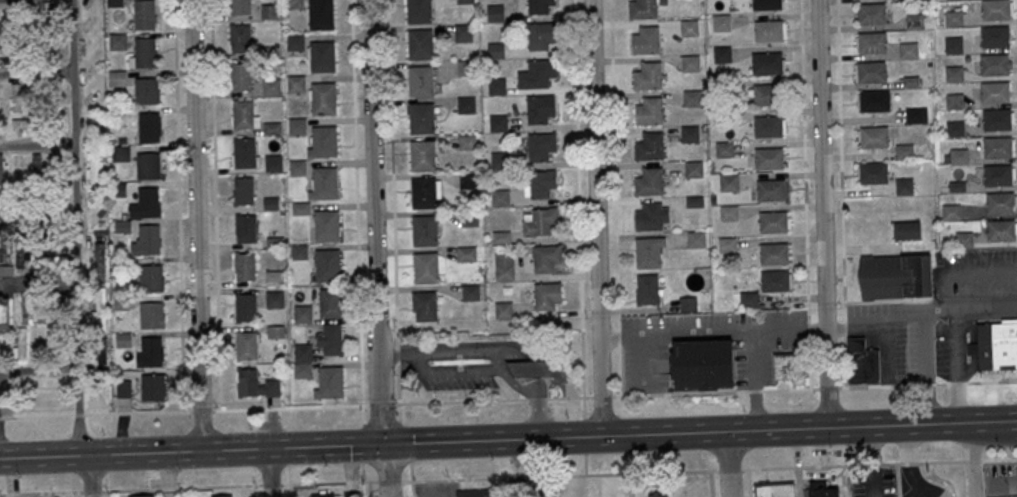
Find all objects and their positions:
building: (913, 0)
building: (464, 1)
building: (115, 3)
building: (294, 3)
building: (767, 4)
building: (539, 6)
building: (240, 7)
building: (642, 9)
building: (995, 9)
building: (269, 11)
building: (419, 11)
building: (495, 12)
building: (144, 13)
building: (321, 14)
building: (870, 14)
building: (954, 17)
building: (721, 22)
building: (914, 22)
building: (22, 23)
building: (689, 27)
building: (768, 30)
building: (463, 31)
building: (542, 35)
building: (995, 36)
building: (240, 38)
building: (647, 40)
building: (118, 41)
building: (61, 42)
building: (295, 42)
building: (870, 43)
building: (420, 45)
building: (953, 45)
building: (92, 47)
building: (496, 50)
building: (145, 52)
building: (907, 52)
building: (722, 54)
building: (7, 55)
building: (322, 57)
building: (691, 63)
building: (767, 63)
building: (994, 64)
building: (466, 68)
road: (36, 72)
building: (870, 72)
building: (537, 74)
building: (954, 74)
building: (648, 75)
building: (241, 77)
building: (116, 78)
building: (421, 81)
building: (910, 82)
building: (296, 83)
building: (94, 84)
building: (272, 87)
building: (497, 87)
building: (60, 88)
building: (147, 91)
building: (995, 92)
building: (767, 94)
building: (15, 97)
building: (323, 98)
building: (692, 98)
building: (34, 99)
building: (954, 101)
building: (873, 102)
building: (466, 105)
building: (540, 108)
building: (57, 109)
building: (650, 110)
building: (243, 114)
building: (913, 116)
building: (421, 118)
building: (996, 119)
building: (22, 123)
building: (498, 123)
building: (93, 124)
building: (297, 126)
building: (768, 126)
building: (150, 127)
building: (955, 128)
building: (689, 134)
building: (874, 137)
building: (323, 142)
building: (467, 142)
building: (541, 145)
road: (37, 146)
building: (650, 146)
building: (998, 147)
building: (724, 149)
building: (905, 151)
building: (244, 152)
building: (422, 155)
building: (958, 156)
building: (768, 158)
building: (946, 158)
building: (500, 160)
building: (92, 161)
road: (804, 161)
road: (841, 161)
building: (273, 163)
road: (614, 163)
building: (148, 165)
building: (297, 167)
building: (2, 168)
building: (38, 169)
building: (693, 169)
building: (873, 173)
road: (392, 174)
building: (998, 175)
building: (468, 180)
building: (649, 182)
building: (729, 182)
building: (324, 183)
building: (542, 183)
building: (904, 186)
building: (957, 186)
building: (771, 189)
building: (943, 189)
building: (244, 190)
building: (424, 193)
building: (501, 197)
building: (148, 200)
building: (1000, 202)
road: (215, 205)
road: (178, 206)
road: (578, 209)
building: (94, 211)
road: (357, 212)
building: (951, 212)
building: (729, 213)
road: (822, 214)
road: (37, 216)
building: (649, 216)
building: (469, 218)
road: (598, 218)
building: (773, 221)
road: (376, 222)
building: (541, 222)
road: (196, 225)
building: (326, 225)
building: (122, 226)
road: (75, 228)
building: (246, 229)
building: (424, 230)
building: (906, 230)
building: (1001, 230)
building: (501, 237)
building: (149, 239)
building: (696, 239)
building: (964, 239)
building: (727, 244)
building: (300, 252)
building: (647, 252)
building: (20, 253)
building: (466, 254)
building: (774, 254)
building: (5, 256)
building: (547, 258)
building: (100, 261)
building: (45, 262)
building: (327, 265)
building: (504, 266)
building: (245, 267)
building: (426, 267)
building: (894, 275)
building: (151, 278)
building: (775, 281)
road: (37, 282)
building: (647, 289)
building: (471, 292)
building: (548, 296)
building: (275, 299)
building: (748, 299)
building: (332, 303)
building: (687, 304)
building: (424, 305)
building: (245, 307)
road: (971, 307)
building: (25, 308)
building: (503, 310)
building: (303, 313)
building: (5, 314)
building: (152, 315)
road: (885, 318)
building: (99, 322)
road: (808, 323)
parking lot: (729, 324)
road: (845, 324)
road: (816, 325)
road: (835, 326)
road: (808, 328)
road: (713, 329)
road: (618, 331)
road: (845, 331)
building: (276, 332)
road: (610, 335)
building: (56, 339)
building: (331, 340)
road: (619, 340)
building: (21, 343)
building: (246, 345)
building: (1003, 345)
parking lot: (945, 349)
building: (151, 351)
road: (886, 351)
parking lot: (896, 351)
road: (454, 352)
road: (396, 354)
road: (395, 355)
road: (753, 356)
road: (808, 359)
road: (845, 360)
building: (302, 361)
road: (497, 361)
road: (642, 361)
building: (702, 362)
building: (862, 362)
road: (415, 363)
road: (656, 364)
road: (956, 365)
road: (928, 366)
parking lot: (753, 368)
parking lot: (632, 369)
building: (789, 369)
building: (540, 370)
road: (619, 370)
road: (491, 372)
road: (501, 374)
road: (897, 375)
building: (247, 382)
building: (330, 382)
road: (926, 384)
road: (500, 386)
building: (152, 387)
road: (828, 387)
building: (124, 388)
road: (457, 389)
road: (714, 391)
road: (398, 392)
road: (602, 396)
road: (570, 397)
road: (536, 398)
road: (460, 400)
road: (380, 404)
road: (754, 407)
road: (184, 411)
road: (993, 423)
road: (584, 436)
road: (404, 441)
road: (484, 441)
road: (362, 442)
traffic signals: (382, 445)
road: (998, 459)
road: (970, 460)
road: (971, 460)
road: (910, 461)
road: (874, 462)
road: (585, 464)
road: (729, 464)
road: (851, 464)
road: (729, 469)
road: (362, 470)
road: (386, 470)
road: (271, 473)
road: (87, 476)
road: (559, 476)
road: (410, 478)
parking lot: (1000, 479)
road: (389, 480)
road: (1002, 480)
road: (328, 481)
road: (748, 482)
road: (710, 483)
road: (270, 484)
road: (185, 487)
road: (370, 488)
road: (289, 490)
building: (775, 490)
road: (94, 491)
road: (253, 491)
building: (822, 491)
road: (36, 493)
building: (473, 493)
road: (73, 494)
building: (351, 494)
building: (658, 494)
building: (141, 495)
building: (323, 495)
building: (224, 496)

